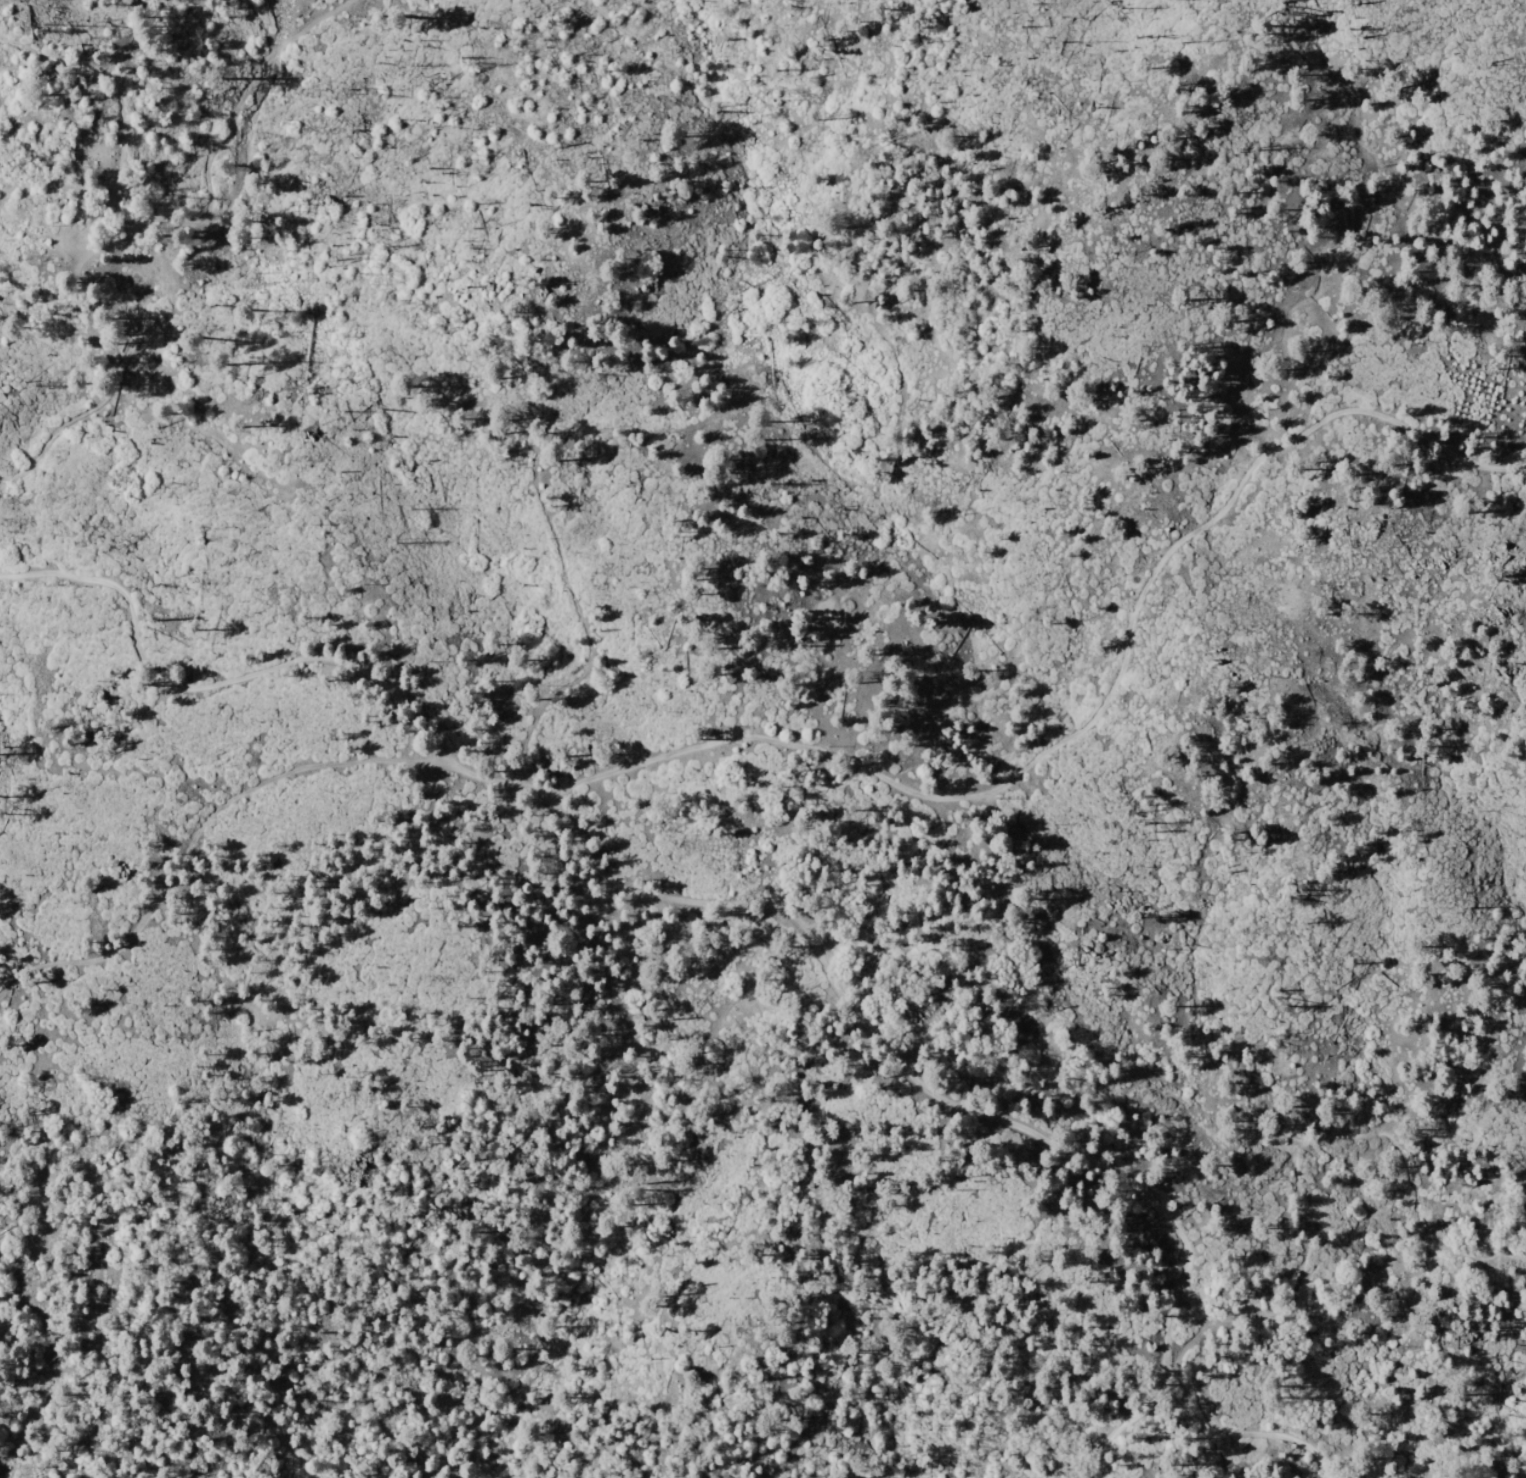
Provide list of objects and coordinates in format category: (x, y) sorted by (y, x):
road: (137, 226)
road: (627, 431)
road: (1103, 712)
road: (195, 833)
road: (711, 903)
road: (1296, 1154)
road: (1240, 1436)

